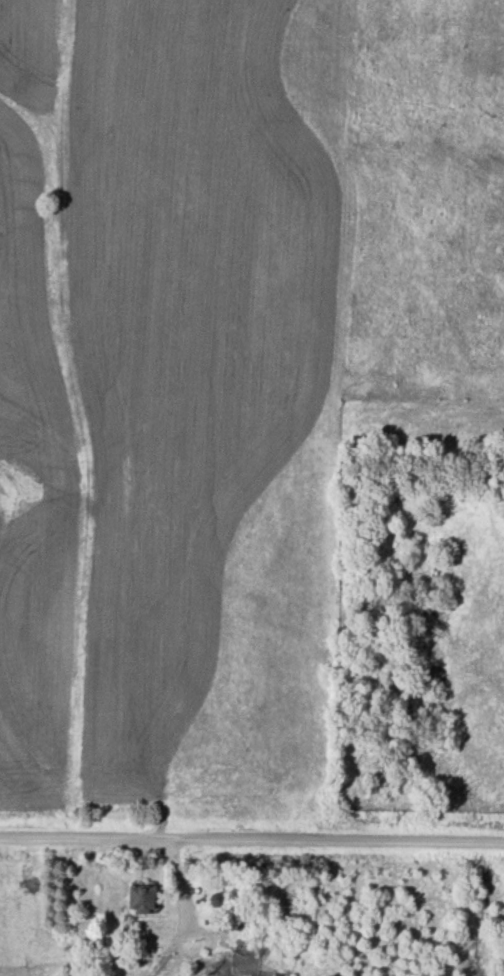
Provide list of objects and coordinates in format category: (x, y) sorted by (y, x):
road: (251, 841)
road: (179, 886)
building: (141, 898)
building: (228, 919)
road: (200, 935)

